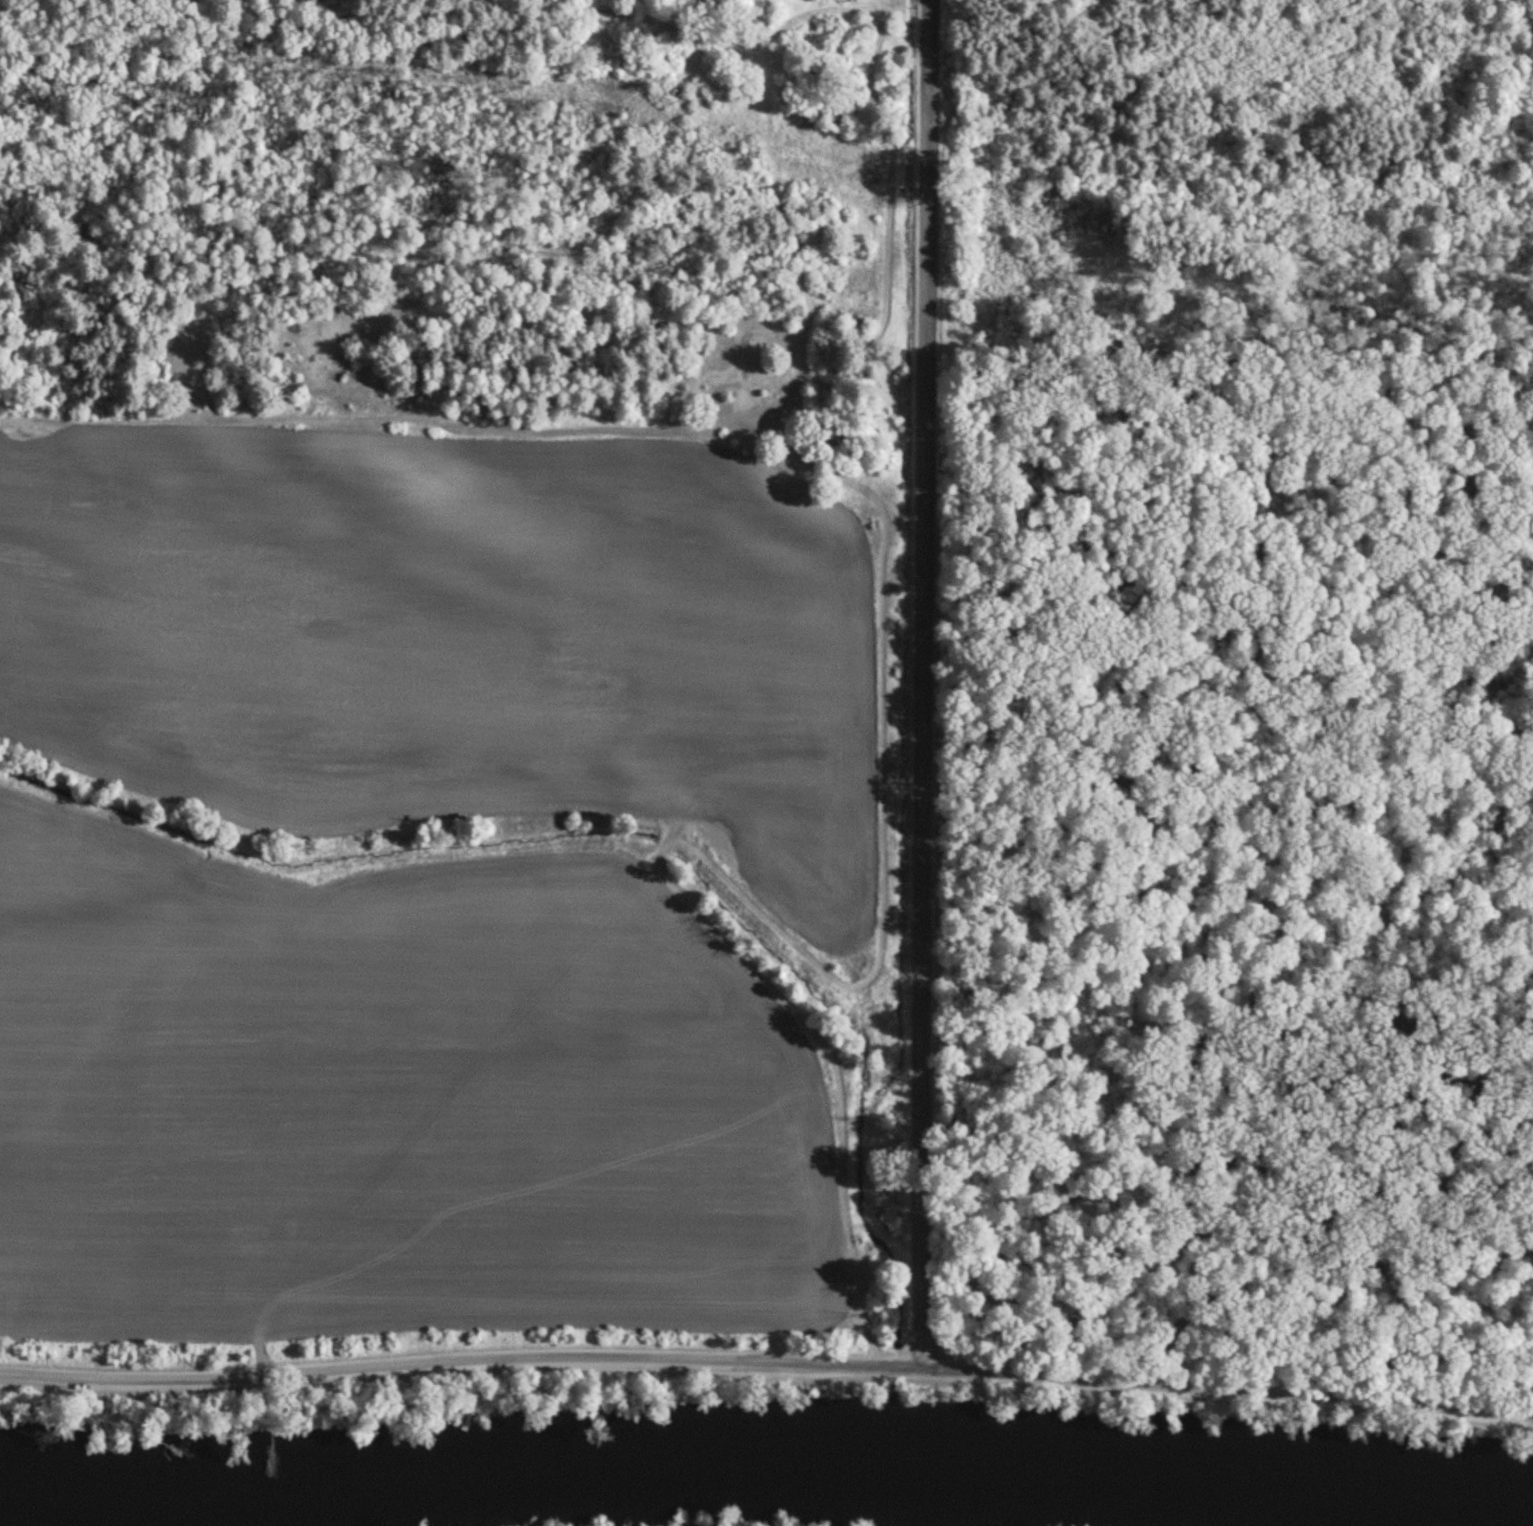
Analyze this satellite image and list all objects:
road: (690, 413)
road: (1027, 550)
road: (1363, 598)
road: (928, 683)
road: (1065, 686)
road: (1355, 891)
road: (767, 1364)
river: (766, 1470)

